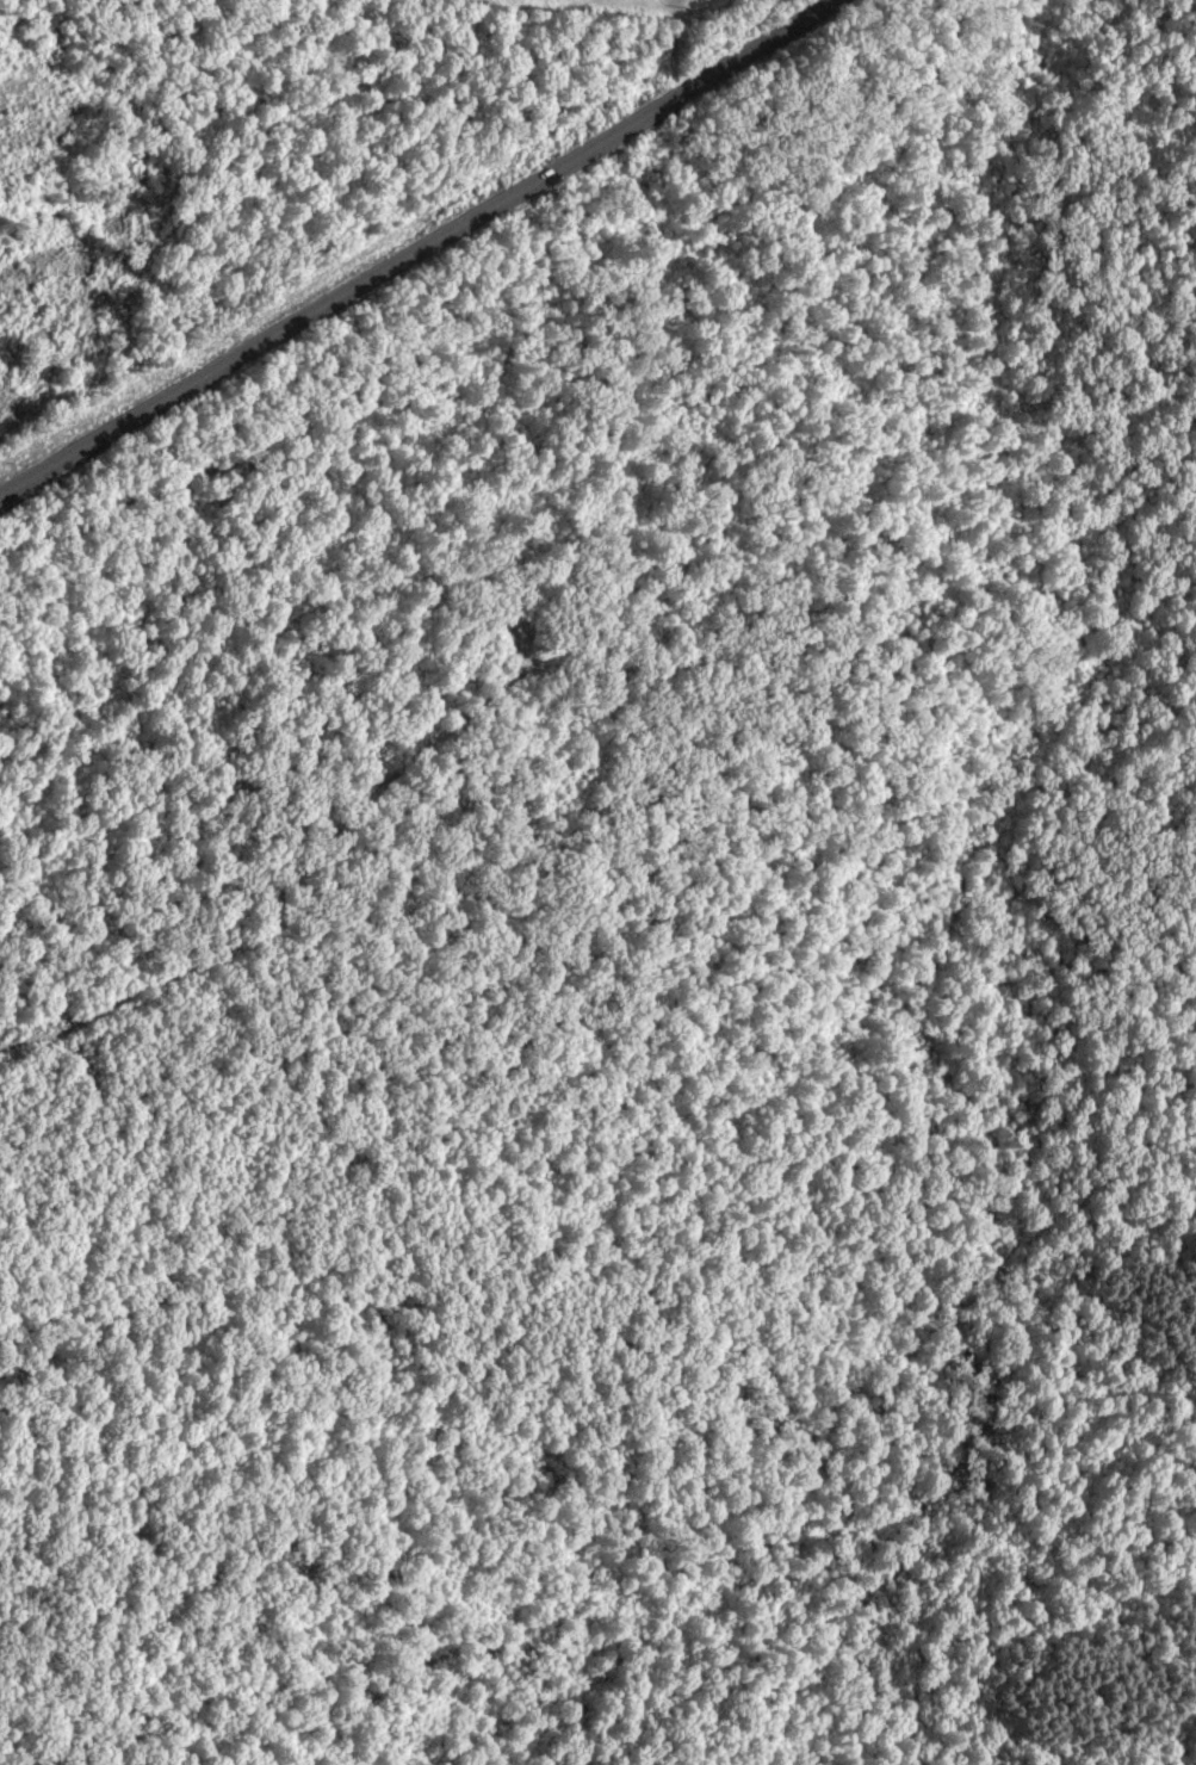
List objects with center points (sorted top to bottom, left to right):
road: (417, 248)

